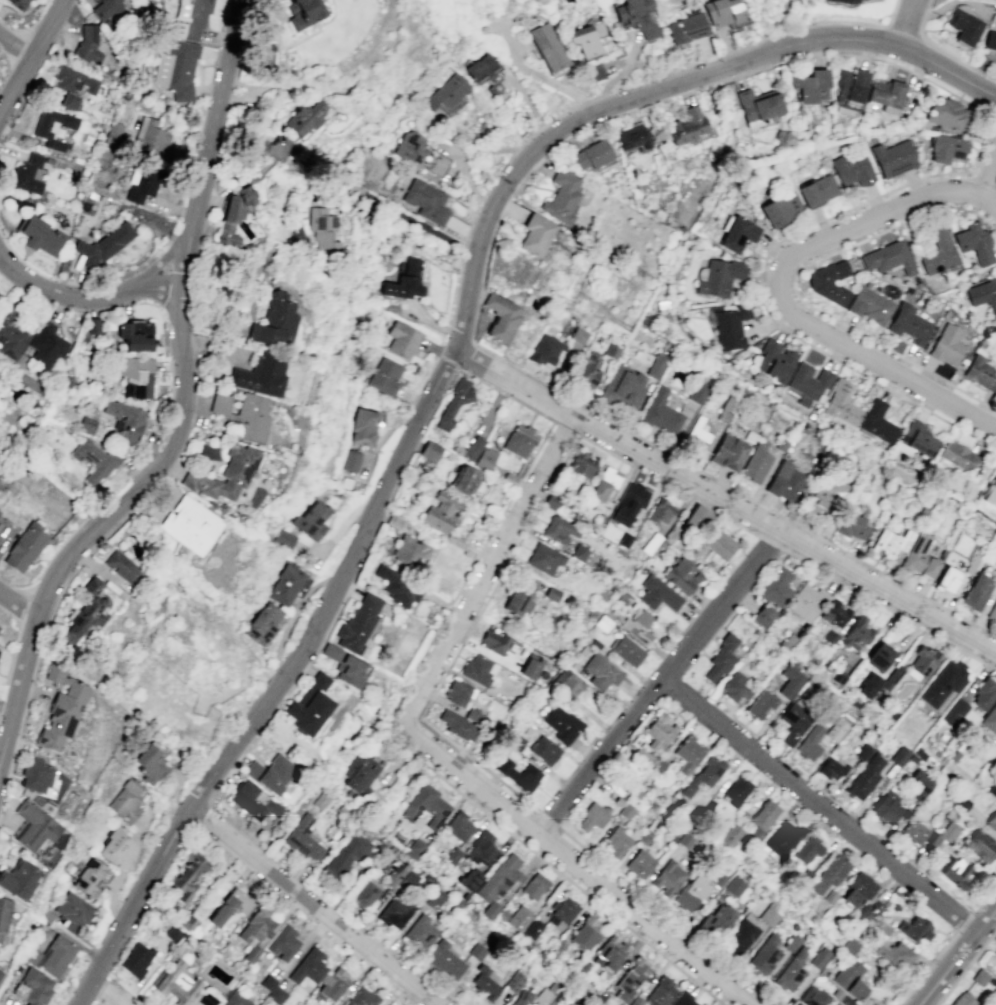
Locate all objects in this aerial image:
building: (843, 0)
building: (992, 0)
building: (17, 2)
building: (106, 8)
building: (303, 12)
building: (722, 12)
building: (638, 16)
building: (191, 18)
road: (908, 23)
building: (964, 28)
building: (687, 30)
road: (787, 30)
building: (990, 41)
building: (585, 42)
road: (15, 44)
building: (87, 44)
road: (520, 47)
building: (548, 48)
road: (941, 49)
road: (632, 51)
road: (30, 55)
road: (617, 62)
building: (176, 67)
building: (485, 73)
building: (594, 73)
road: (537, 76)
road: (611, 79)
building: (72, 84)
building: (808, 84)
building: (849, 90)
building: (446, 92)
building: (886, 93)
road: (602, 95)
road: (593, 98)
road: (583, 102)
building: (757, 105)
building: (948, 109)
building: (305, 117)
road: (547, 123)
building: (687, 125)
building: (52, 127)
building: (113, 133)
building: (151, 136)
building: (633, 136)
road: (480, 146)
building: (948, 146)
road: (516, 150)
building: (420, 153)
building: (592, 155)
building: (893, 158)
building: (852, 170)
building: (26, 175)
road: (990, 177)
building: (141, 183)
building: (817, 190)
building: (247, 194)
building: (560, 196)
road: (866, 200)
building: (427, 201)
road: (990, 202)
building: (780, 208)
road: (993, 216)
road: (988, 220)
building: (229, 221)
building: (296, 226)
road: (419, 226)
building: (325, 231)
building: (535, 234)
building: (738, 234)
building: (39, 235)
building: (974, 243)
building: (939, 250)
road: (162, 257)
building: (888, 258)
building: (717, 277)
building: (406, 282)
road: (772, 282)
building: (828, 282)
road: (790, 284)
road: (456, 286)
road: (793, 286)
building: (983, 294)
road: (83, 296)
road: (781, 297)
building: (869, 305)
building: (500, 317)
building: (276, 322)
building: (909, 323)
building: (730, 325)
building: (91, 326)
building: (994, 329)
building: (11, 333)
building: (135, 335)
building: (579, 335)
building: (403, 339)
building: (946, 345)
building: (44, 348)
building: (546, 351)
road: (465, 354)
building: (774, 360)
building: (656, 365)
road: (443, 367)
building: (588, 370)
building: (981, 372)
building: (262, 374)
building: (135, 376)
building: (387, 376)
road: (478, 378)
building: (809, 379)
building: (623, 388)
road: (500, 391)
building: (697, 392)
building: (220, 402)
building: (453, 403)
building: (841, 403)
road: (493, 405)
road: (187, 407)
building: (661, 412)
building: (252, 418)
building: (124, 420)
building: (877, 423)
building: (86, 426)
building: (363, 426)
road: (564, 429)
building: (697, 435)
building: (520, 440)
building: (916, 440)
building: (473, 448)
building: (429, 450)
building: (728, 452)
building: (956, 456)
building: (486, 458)
building: (94, 460)
building: (352, 460)
building: (756, 462)
building: (581, 464)
building: (224, 474)
building: (464, 480)
building: (784, 481)
building: (604, 484)
road: (733, 490)
building: (991, 492)
building: (818, 498)
road: (724, 501)
building: (629, 503)
building: (660, 511)
building: (442, 512)
building: (313, 518)
building: (697, 519)
building: (394, 521)
building: (190, 525)
road: (342, 525)
building: (853, 526)
building: (559, 529)
building: (460, 537)
building: (287, 538)
road: (769, 542)
building: (890, 543)
building: (718, 544)
building: (24, 546)
building: (409, 551)
road: (511, 552)
building: (582, 554)
building: (543, 558)
building: (919, 558)
road: (488, 563)
building: (121, 567)
building: (995, 568)
building: (681, 575)
building: (947, 580)
building: (285, 584)
building: (397, 586)
building: (776, 586)
building: (975, 591)
building: (657, 594)
building: (519, 599)
building: (806, 602)
road: (17, 605)
road: (889, 609)
building: (992, 611)
building: (86, 612)
building: (834, 613)
building: (762, 615)
road: (289, 616)
building: (262, 623)
building: (0, 624)
building: (359, 624)
building: (637, 625)
building: (857, 634)
building: (494, 642)
building: (626, 650)
building: (331, 651)
building: (879, 656)
building: (720, 658)
building: (922, 662)
building: (530, 666)
building: (478, 669)
building: (351, 671)
building: (601, 672)
building: (893, 675)
road: (659, 680)
building: (789, 680)
building: (566, 682)
building: (868, 684)
road: (236, 686)
building: (736, 687)
building: (457, 693)
building: (983, 694)
building: (308, 705)
building: (759, 705)
building: (61, 709)
building: (960, 716)
building: (990, 719)
building: (793, 722)
building: (561, 724)
building: (458, 726)
building: (835, 730)
building: (660, 732)
road: (394, 738)
building: (809, 743)
building: (544, 749)
building: (688, 753)
building: (641, 754)
building: (899, 755)
building: (995, 755)
building: (153, 762)
building: (831, 768)
building: (359, 772)
building: (271, 773)
building: (519, 774)
building: (36, 775)
building: (703, 775)
building: (864, 777)
building: (917, 784)
building: (736, 790)
building: (127, 800)
building: (252, 801)
road: (173, 802)
road: (819, 804)
building: (426, 806)
building: (885, 808)
building: (592, 817)
building: (762, 817)
road: (546, 818)
building: (991, 821)
building: (33, 826)
building: (459, 826)
building: (948, 830)
building: (913, 831)
building: (731, 835)
building: (781, 837)
building: (932, 838)
building: (304, 839)
building: (617, 842)
building: (115, 845)
building: (981, 846)
building: (414, 848)
building: (481, 849)
building: (808, 849)
building: (346, 855)
road: (575, 859)
building: (640, 863)
road: (123, 869)
building: (954, 870)
building: (829, 873)
building: (190, 874)
building: (18, 878)
building: (92, 878)
building: (668, 878)
building: (470, 879)
building: (498, 883)
building: (534, 886)
building: (733, 886)
building: (858, 889)
building: (691, 893)
building: (365, 894)
building: (436, 898)
road: (984, 899)
road: (312, 905)
building: (231, 906)
building: (72, 911)
building: (562, 911)
building: (395, 912)
building: (4, 913)
road: (667, 915)
building: (768, 916)
building: (519, 918)
building: (716, 918)
building: (185, 921)
road: (964, 922)
building: (914, 928)
building: (532, 929)
building: (256, 931)
building: (420, 933)
building: (585, 933)
building: (173, 934)
building: (740, 935)
building: (284, 944)
building: (790, 945)
building: (849, 945)
building: (476, 952)
building: (609, 954)
building: (894, 954)
building: (765, 955)
building: (51, 956)
road: (957, 956)
building: (819, 957)
building: (136, 959)
building: (444, 959)
road: (964, 966)
building: (309, 967)
road: (928, 969)
building: (791, 971)
building: (0, 972)
building: (849, 978)
building: (631, 979)
building: (485, 981)
building: (514, 981)
building: (178, 984)
building: (334, 984)
building: (36, 986)
road: (126, 988)
road: (100, 989)
building: (273, 990)
road: (107, 992)
building: (660, 993)
building: (812, 996)
building: (362, 997)
building: (520, 998)
building: (207, 999)
building: (235, 999)
building: (963, 999)
building: (541, 1000)
building: (685, 1000)
building: (845, 1001)
road: (92, 1003)
building: (836, 1003)

